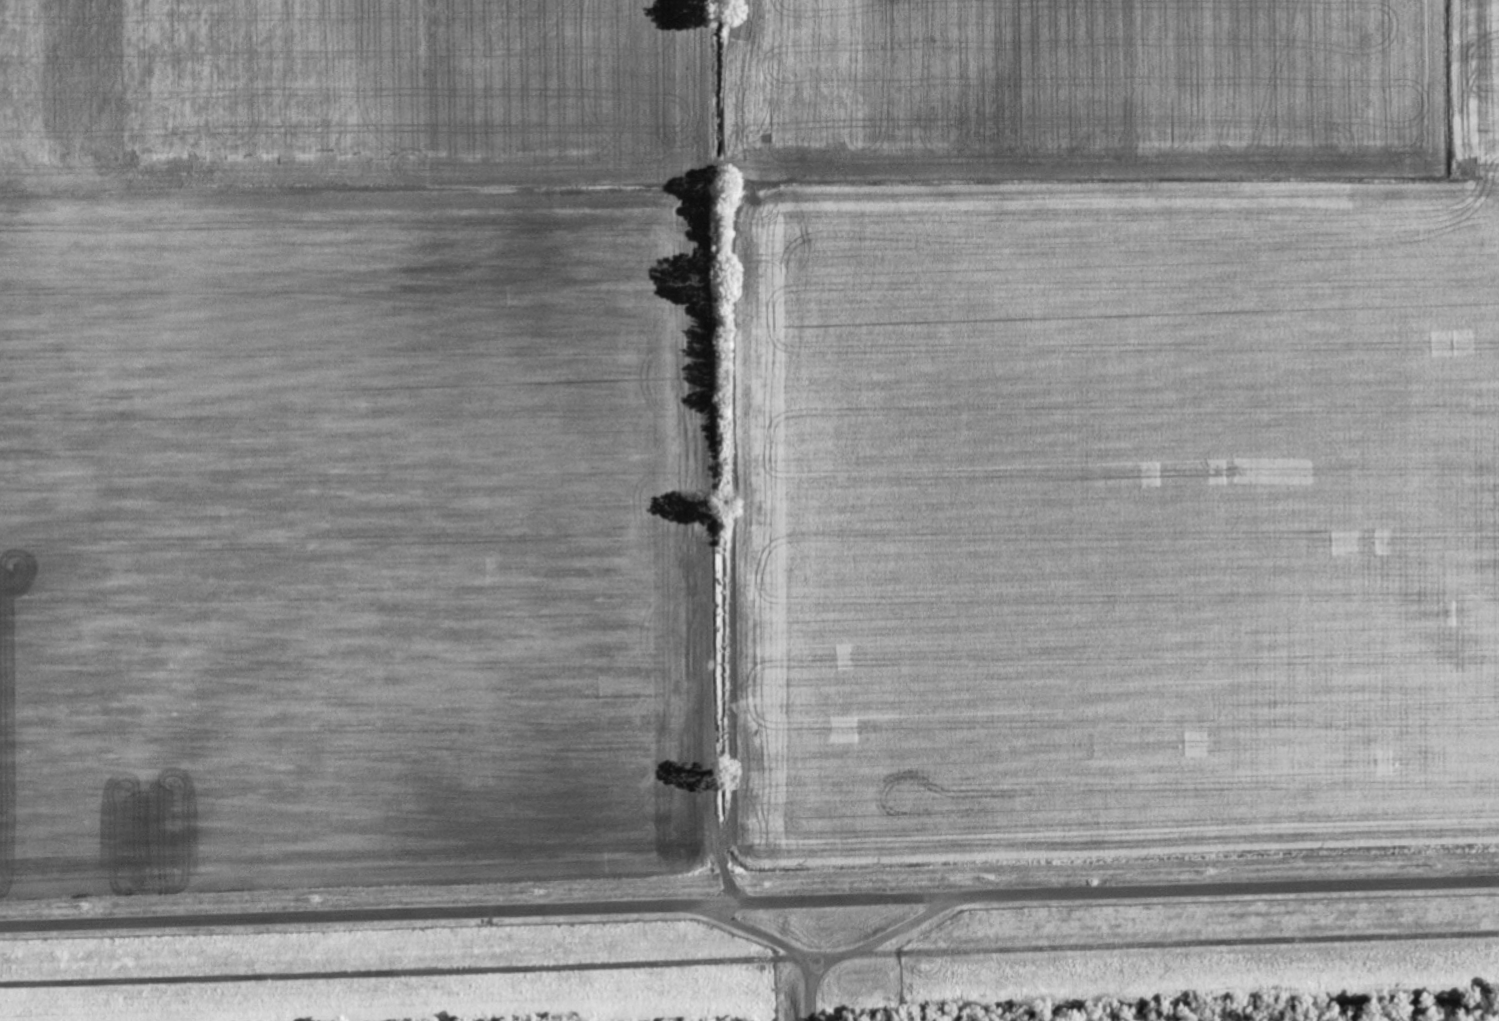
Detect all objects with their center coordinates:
road: (713, 522)
road: (749, 902)
road: (905, 926)
road: (1156, 943)
road: (787, 945)
road: (407, 969)

